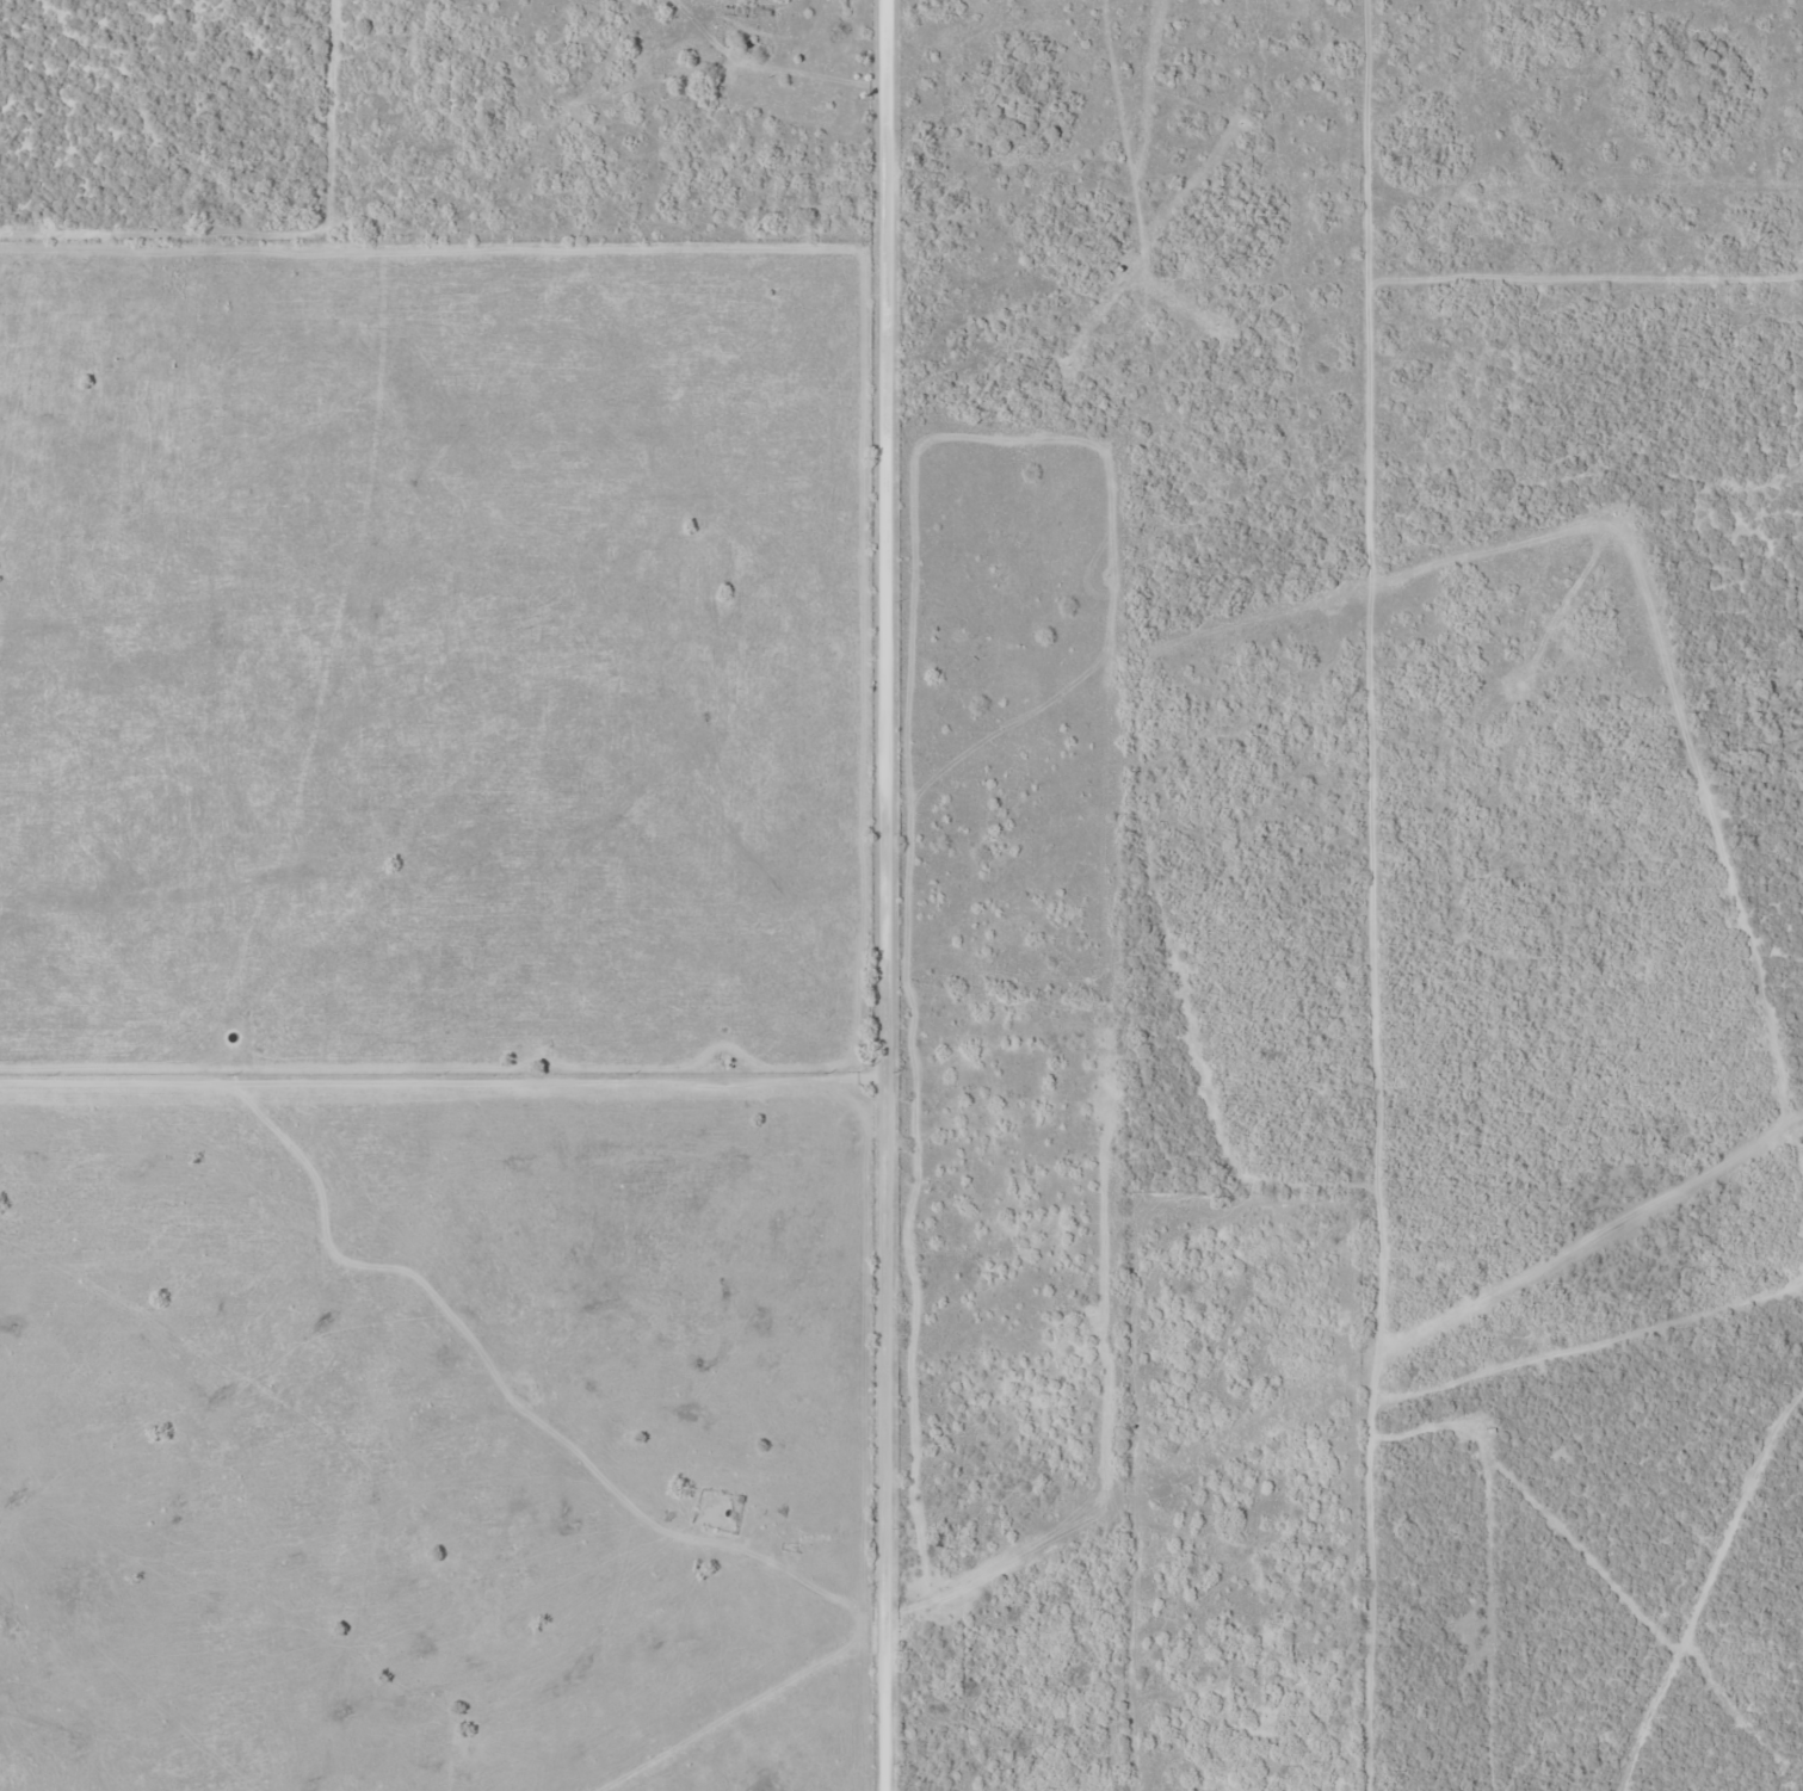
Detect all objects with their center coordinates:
road: (741, 64)
road: (877, 895)

